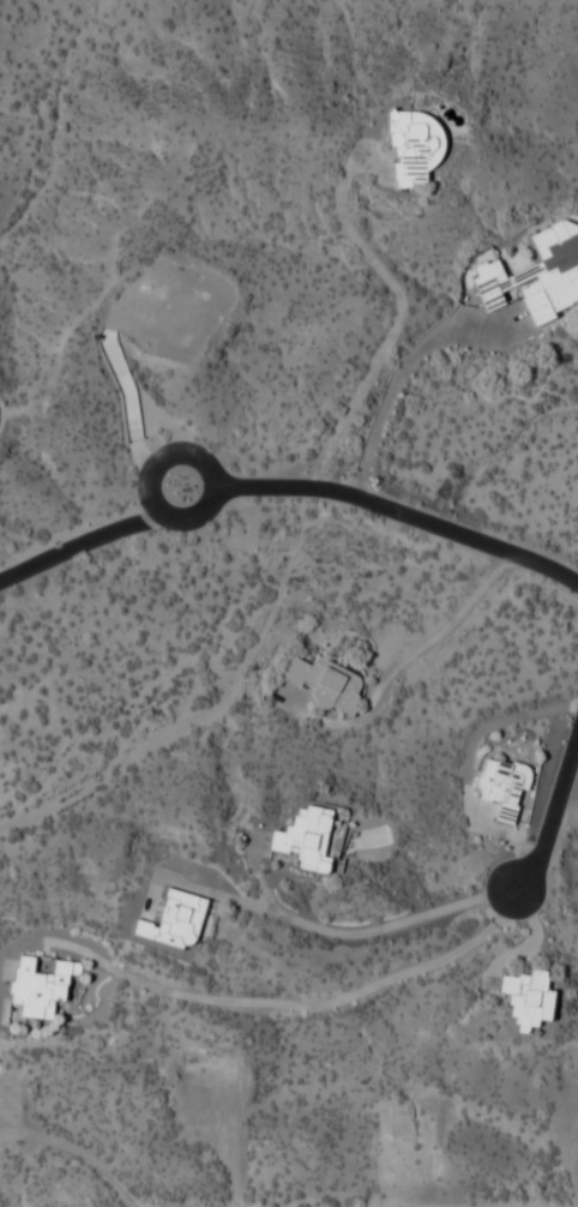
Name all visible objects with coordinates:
building: (413, 148)
building: (536, 276)
road: (287, 488)
road: (444, 627)
building: (325, 683)
building: (502, 786)
road: (554, 817)
building: (306, 839)
building: (174, 920)
road: (369, 930)
building: (38, 985)
building: (528, 999)
road: (308, 1003)

